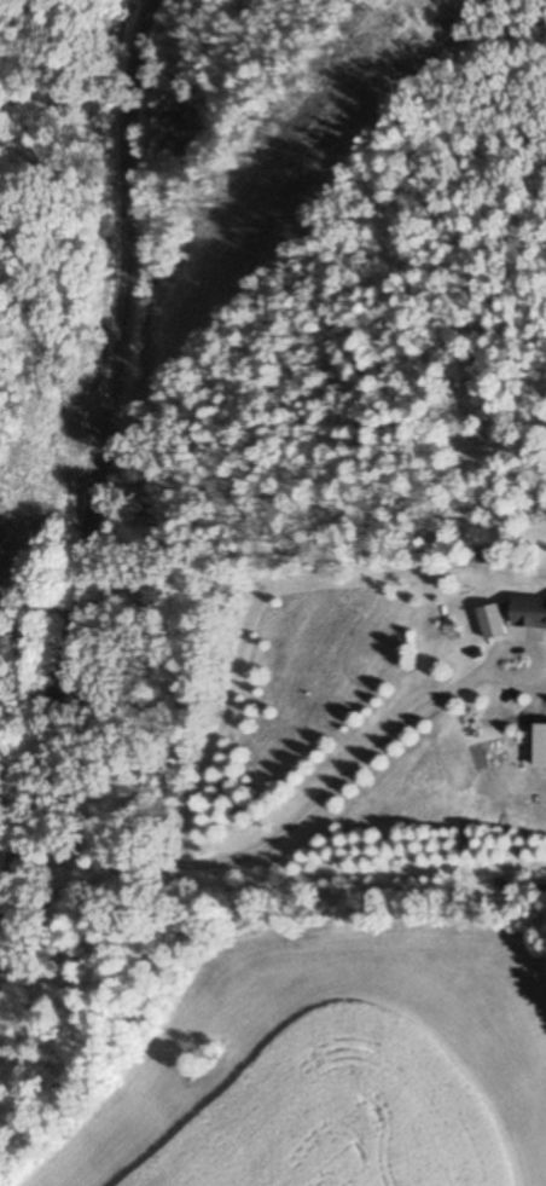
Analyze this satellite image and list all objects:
power tower: (316, 137)
road: (98, 470)
building: (480, 556)
building: (529, 613)
building: (490, 621)

